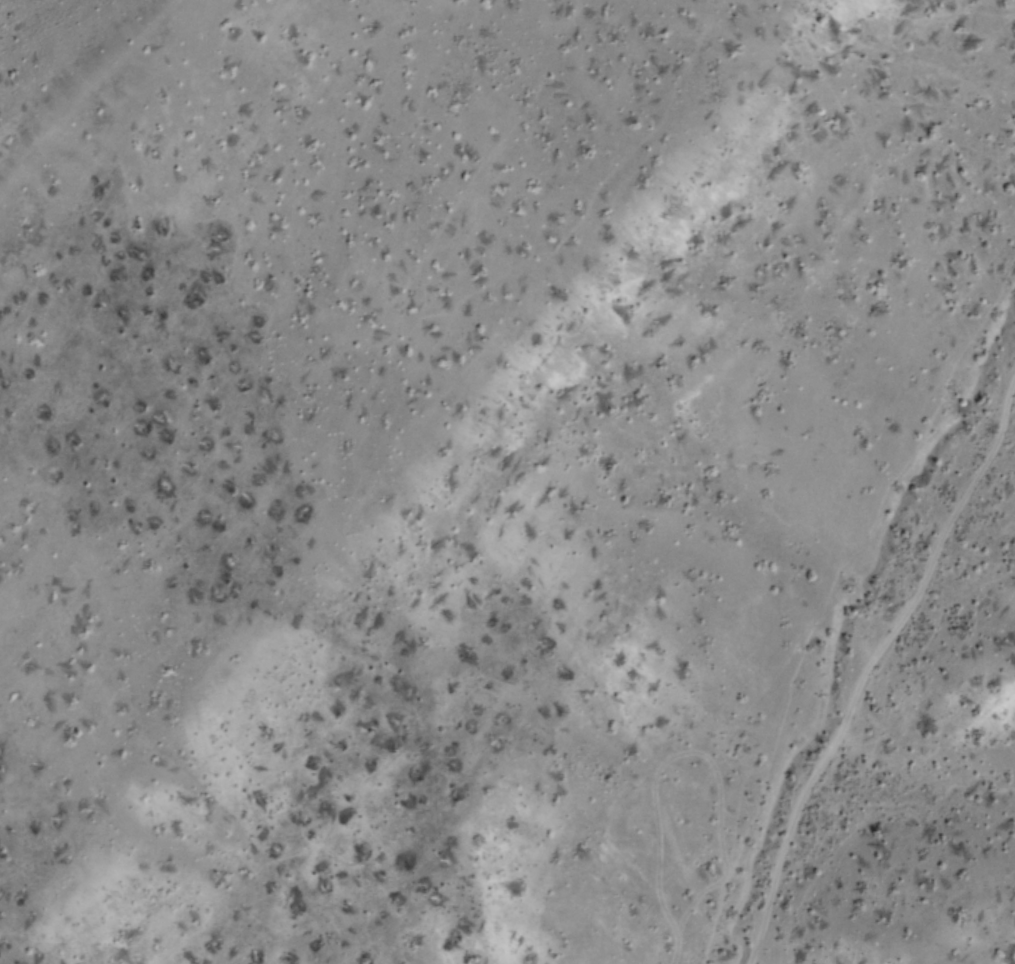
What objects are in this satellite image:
road: (882, 686)

